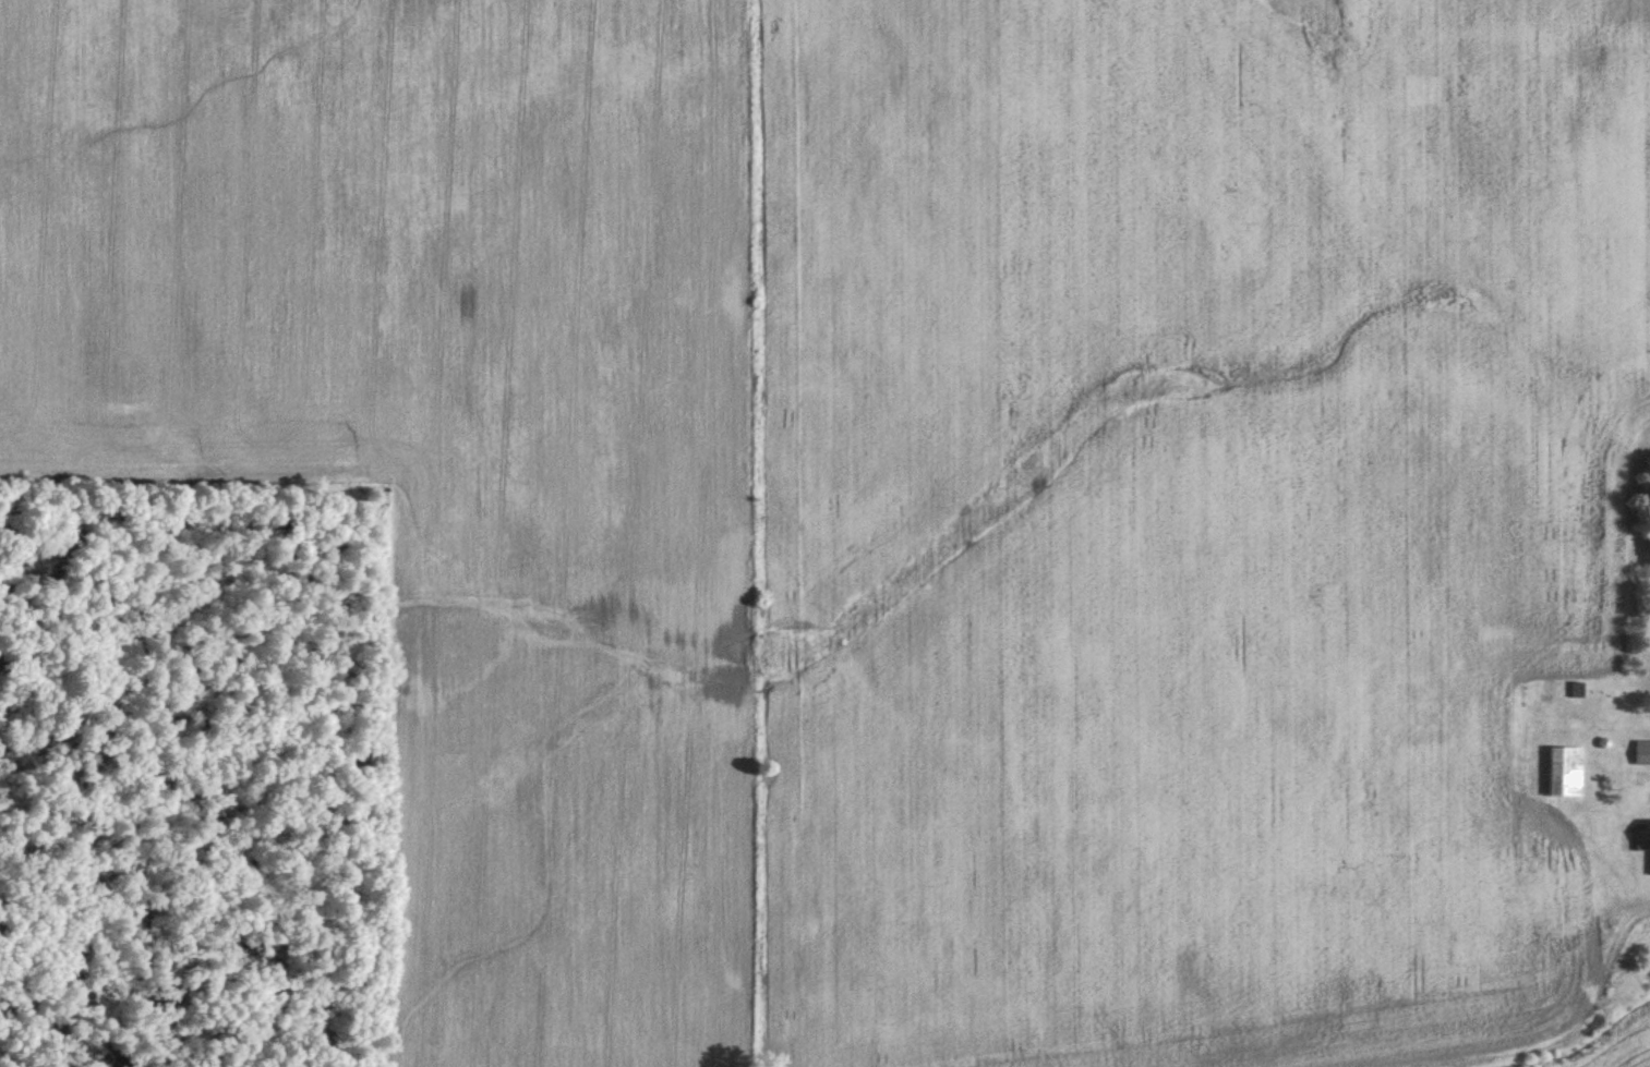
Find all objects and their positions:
building: (1641, 751)
building: (1564, 771)
building: (1642, 835)

